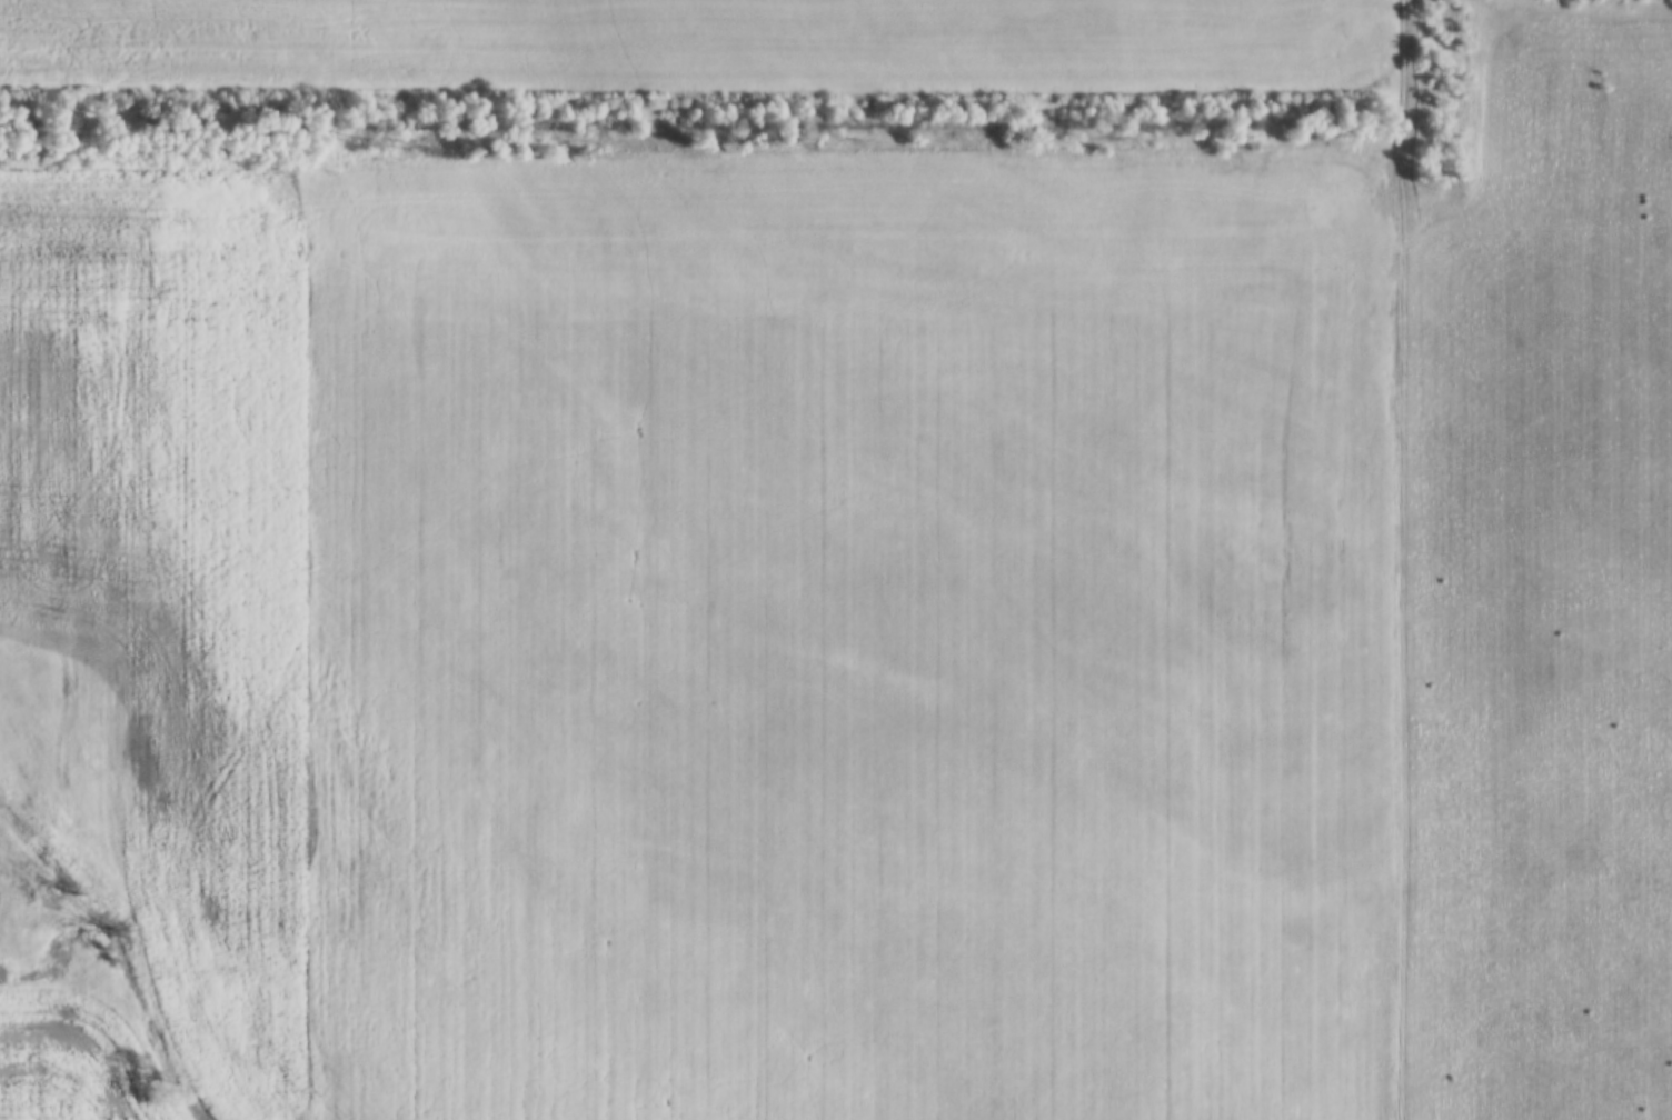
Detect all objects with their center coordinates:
road: (1393, 559)

